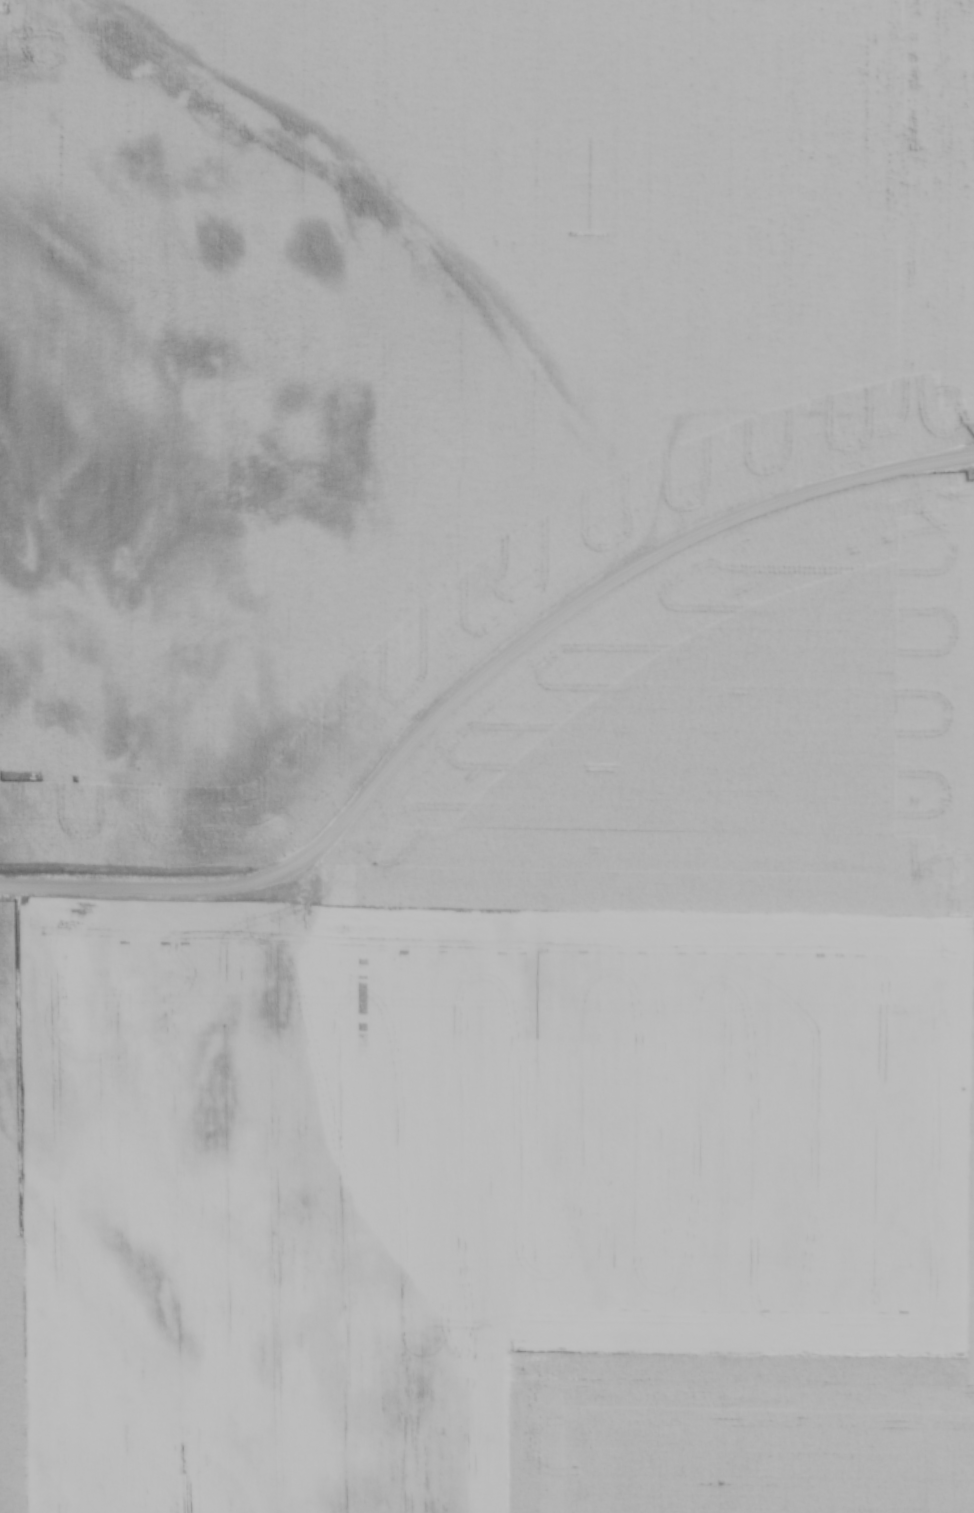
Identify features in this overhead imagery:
road: (472, 676)

